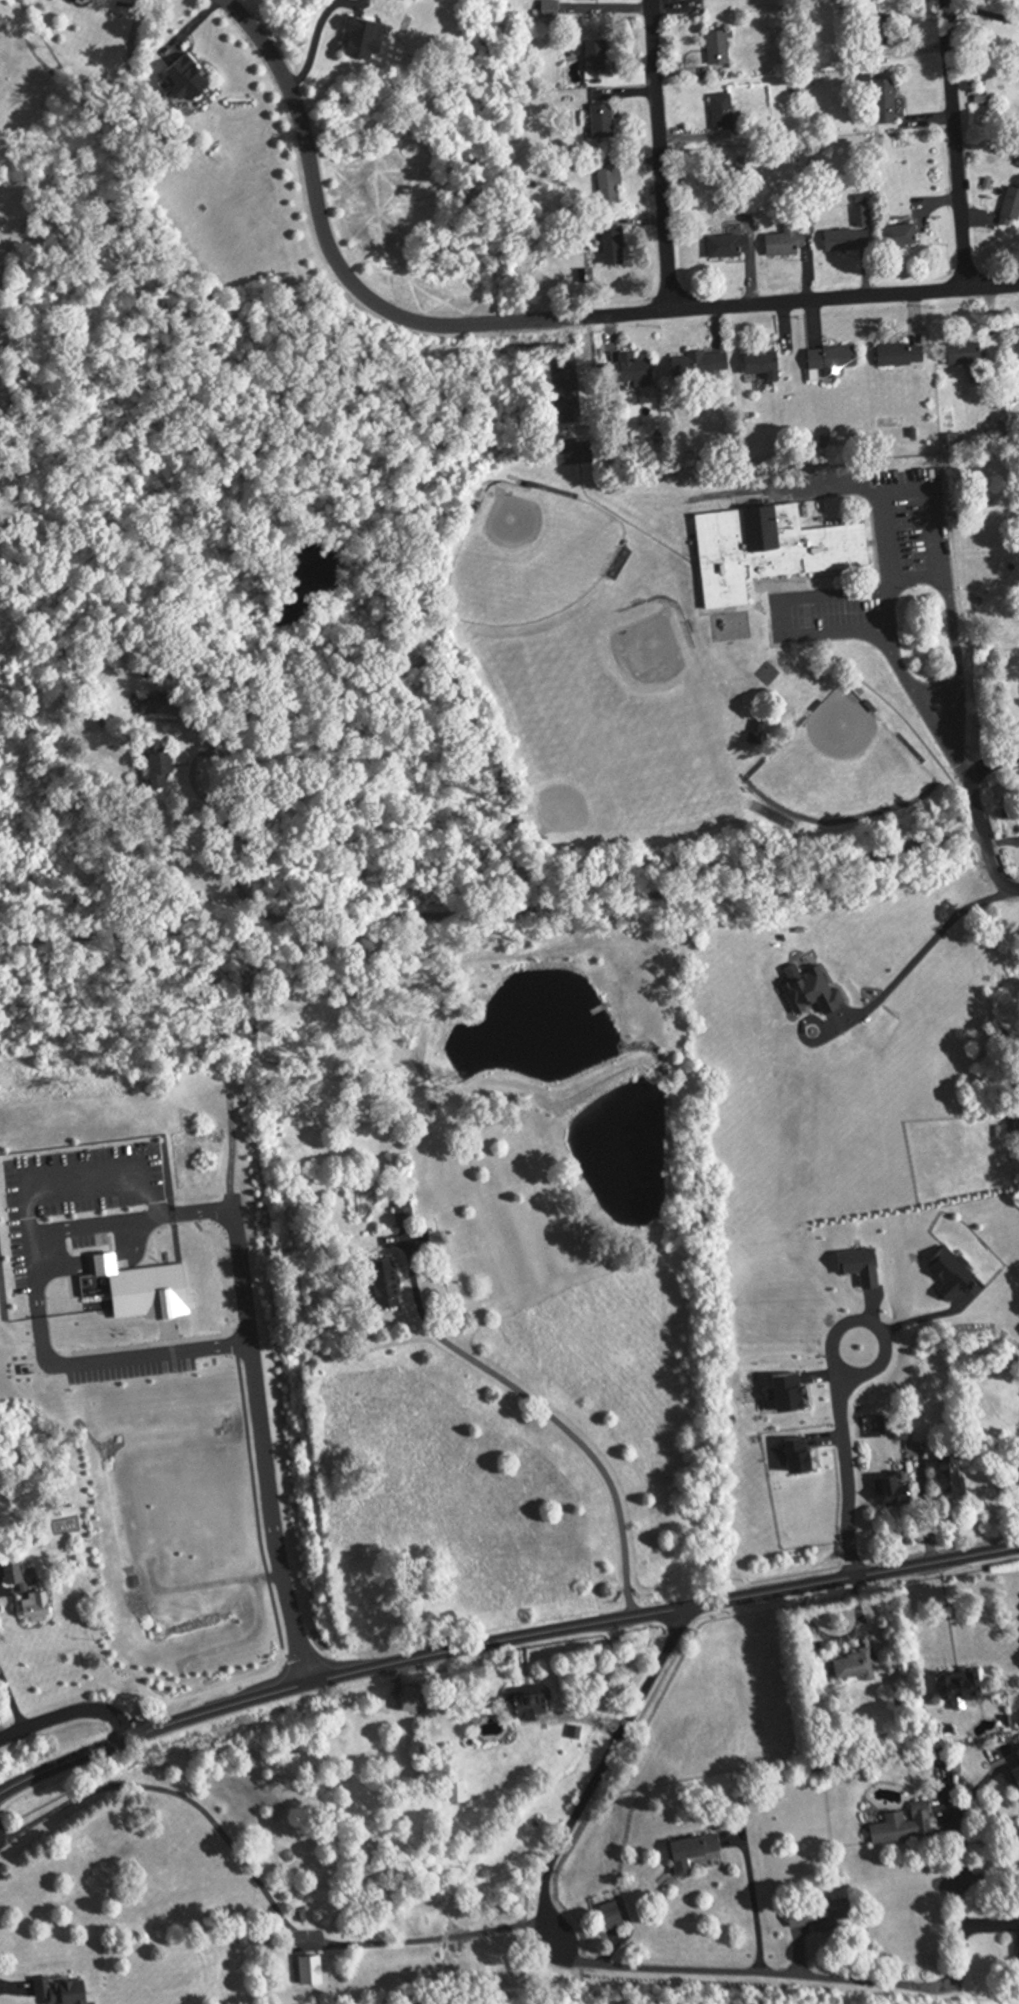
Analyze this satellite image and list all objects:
building: (552, 8)
road: (981, 15)
building: (365, 37)
building: (719, 47)
building: (598, 55)
building: (188, 79)
building: (886, 100)
building: (724, 112)
building: (605, 121)
road: (955, 143)
road: (658, 154)
building: (612, 183)
building: (1012, 209)
building: (902, 235)
building: (850, 238)
building: (614, 242)
building: (787, 242)
building: (731, 246)
road: (521, 320)
building: (966, 354)
building: (903, 355)
building: (1017, 356)
building: (834, 360)
building: (701, 364)
building: (764, 364)
building: (637, 369)
building: (954, 442)
road: (850, 488)
park: (528, 547)
building: (770, 550)
road: (891, 562)
road: (889, 611)
road: (816, 636)
road: (954, 642)
park: (656, 666)
building: (988, 666)
park: (628, 672)
building: (756, 738)
park: (832, 756)
road: (970, 780)
road: (228, 796)
road: (989, 872)
road: (492, 913)
road: (909, 964)
building: (406, 1218)
building: (109, 1295)
road: (39, 1300)
road: (548, 1413)
building: (909, 1430)
road: (260, 1448)
road: (844, 1460)
building: (954, 1472)
building: (895, 1489)
road: (1, 1586)
building: (38, 1609)
road: (500, 1640)
building: (856, 1665)
building: (963, 1685)
building: (414, 1698)
building: (531, 1700)
road: (12, 1702)
road: (69, 1715)
road: (1, 1735)
building: (1017, 1770)
building: (459, 1791)
road: (957, 1817)
building: (906, 1824)
road: (5, 1841)
building: (694, 1850)
road: (259, 1885)
road: (755, 1905)
building: (821, 1914)
building: (613, 1915)
building: (311, 1969)
road: (604, 1972)
road: (8, 1988)
building: (63, 1990)

